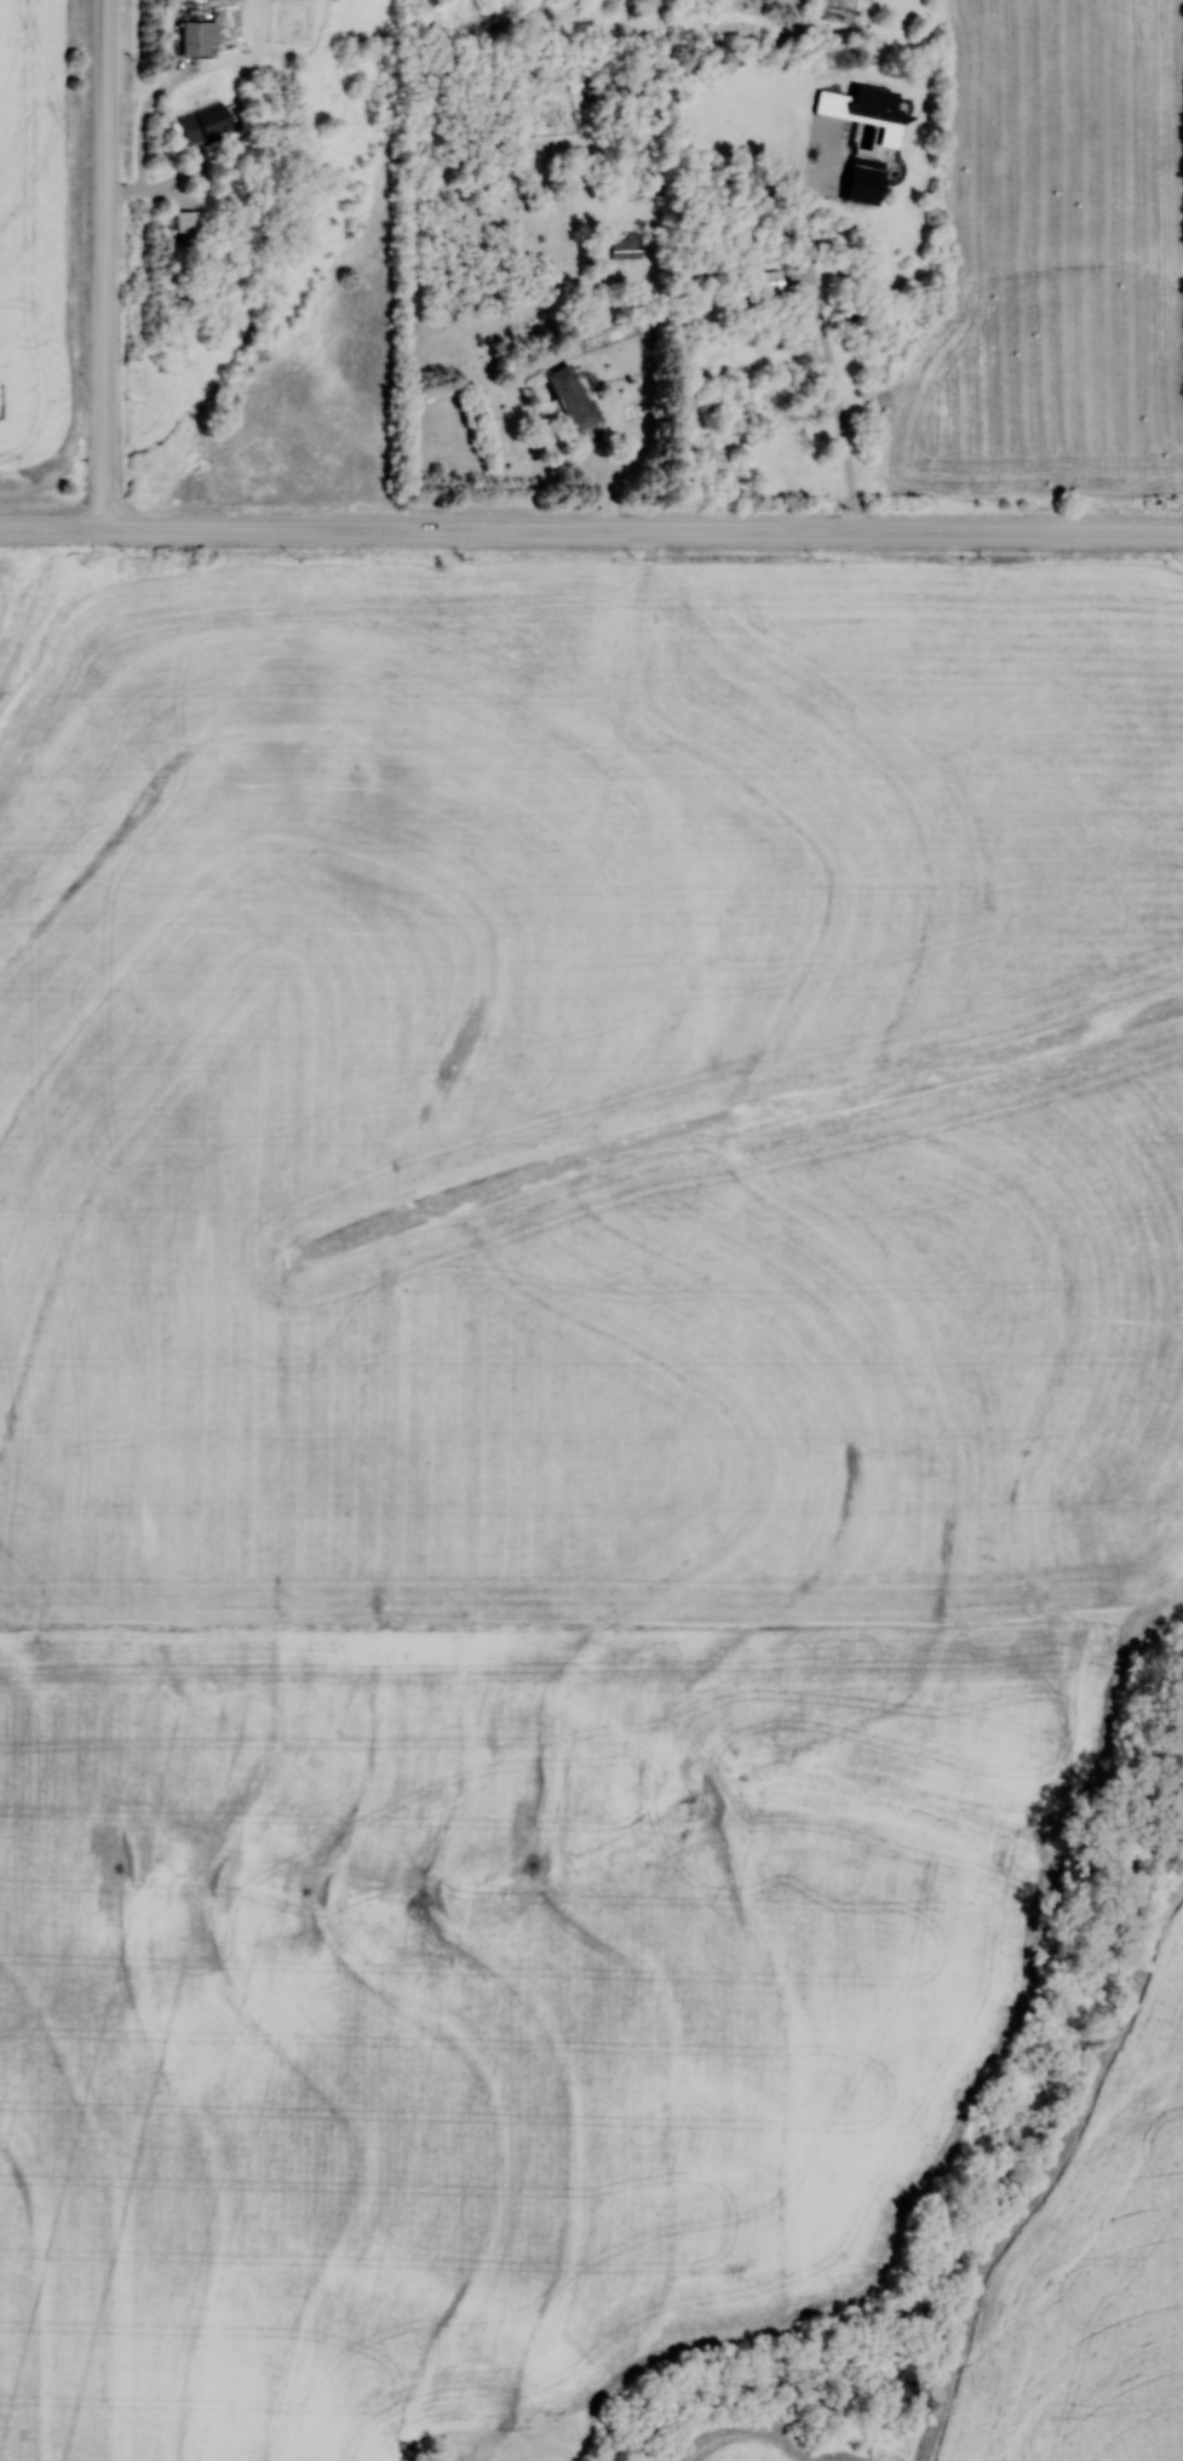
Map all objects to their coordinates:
building: (199, 39)
building: (865, 116)
building: (205, 122)
building: (625, 247)
road: (104, 264)
building: (769, 283)
building: (573, 398)
road: (591, 529)

